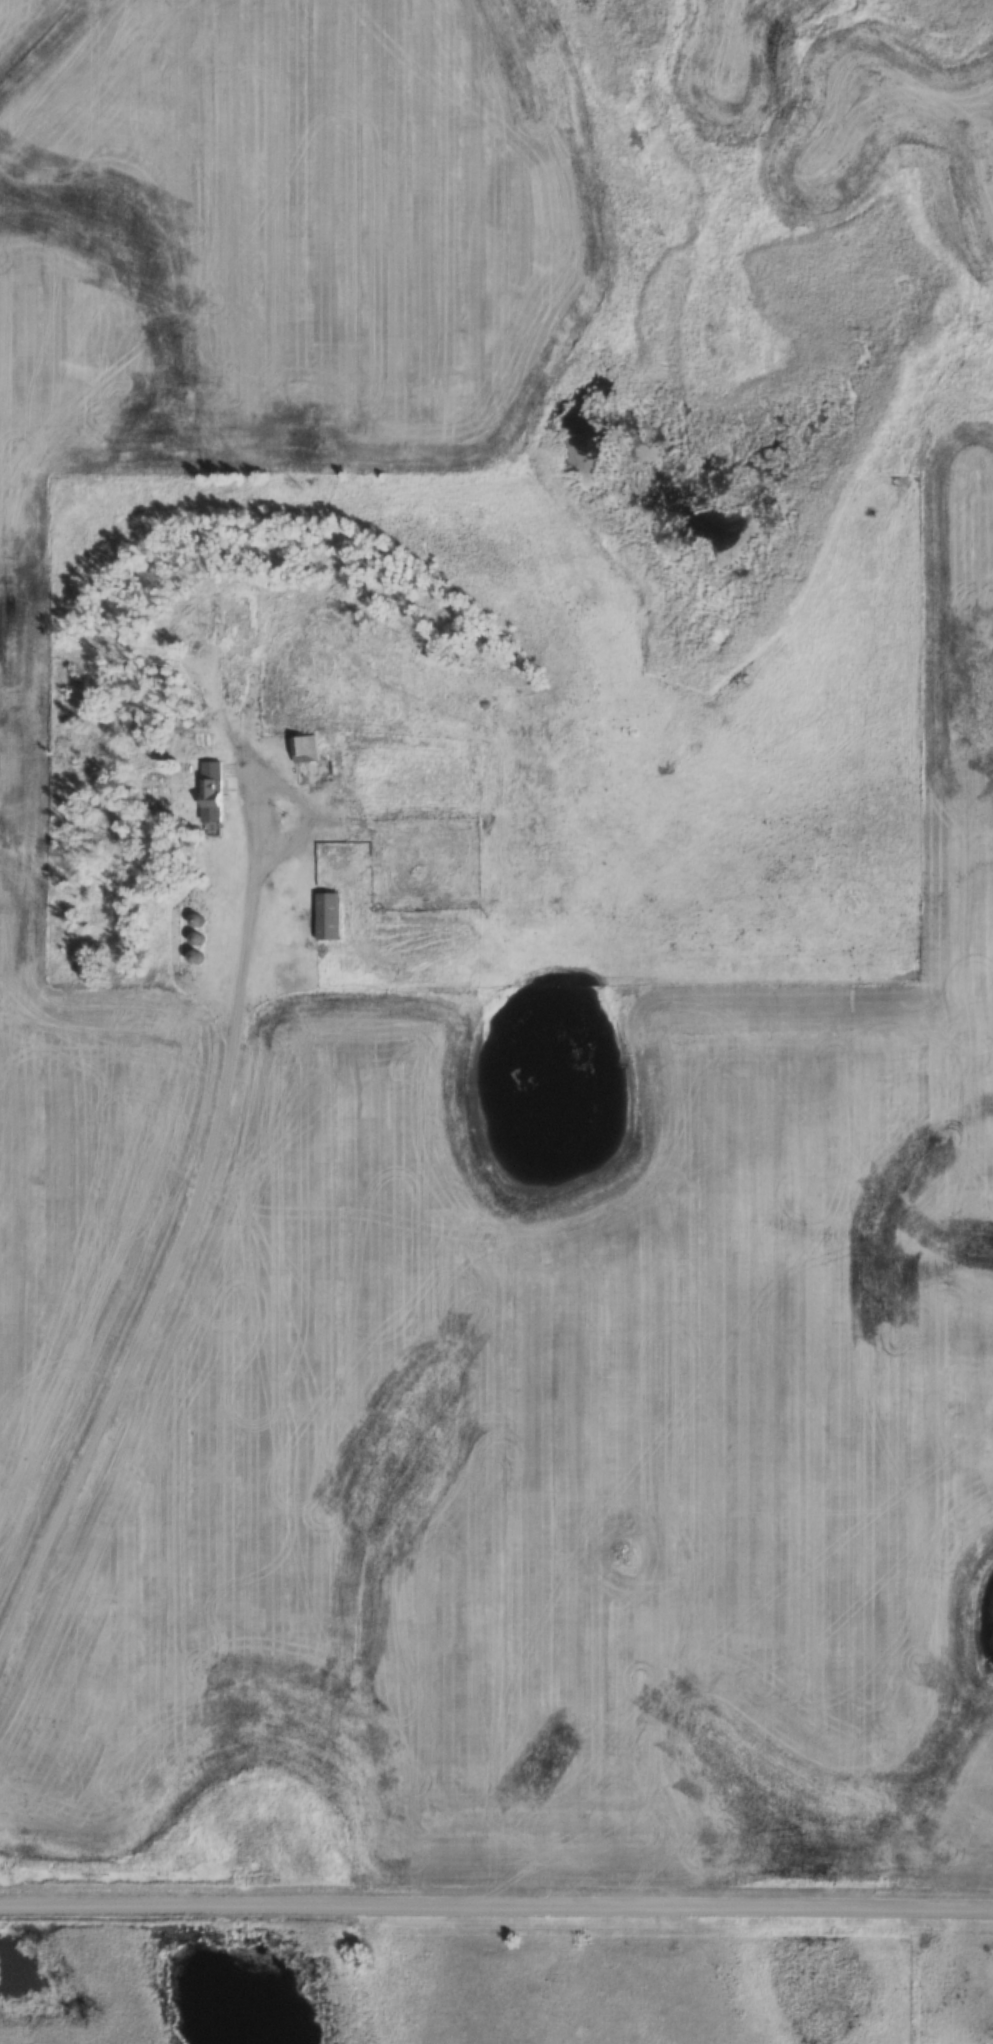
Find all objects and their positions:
building: (199, 646)
building: (270, 715)
building: (307, 747)
road: (247, 753)
building: (210, 790)
building: (326, 915)
road: (204, 1208)
road: (496, 1906)

